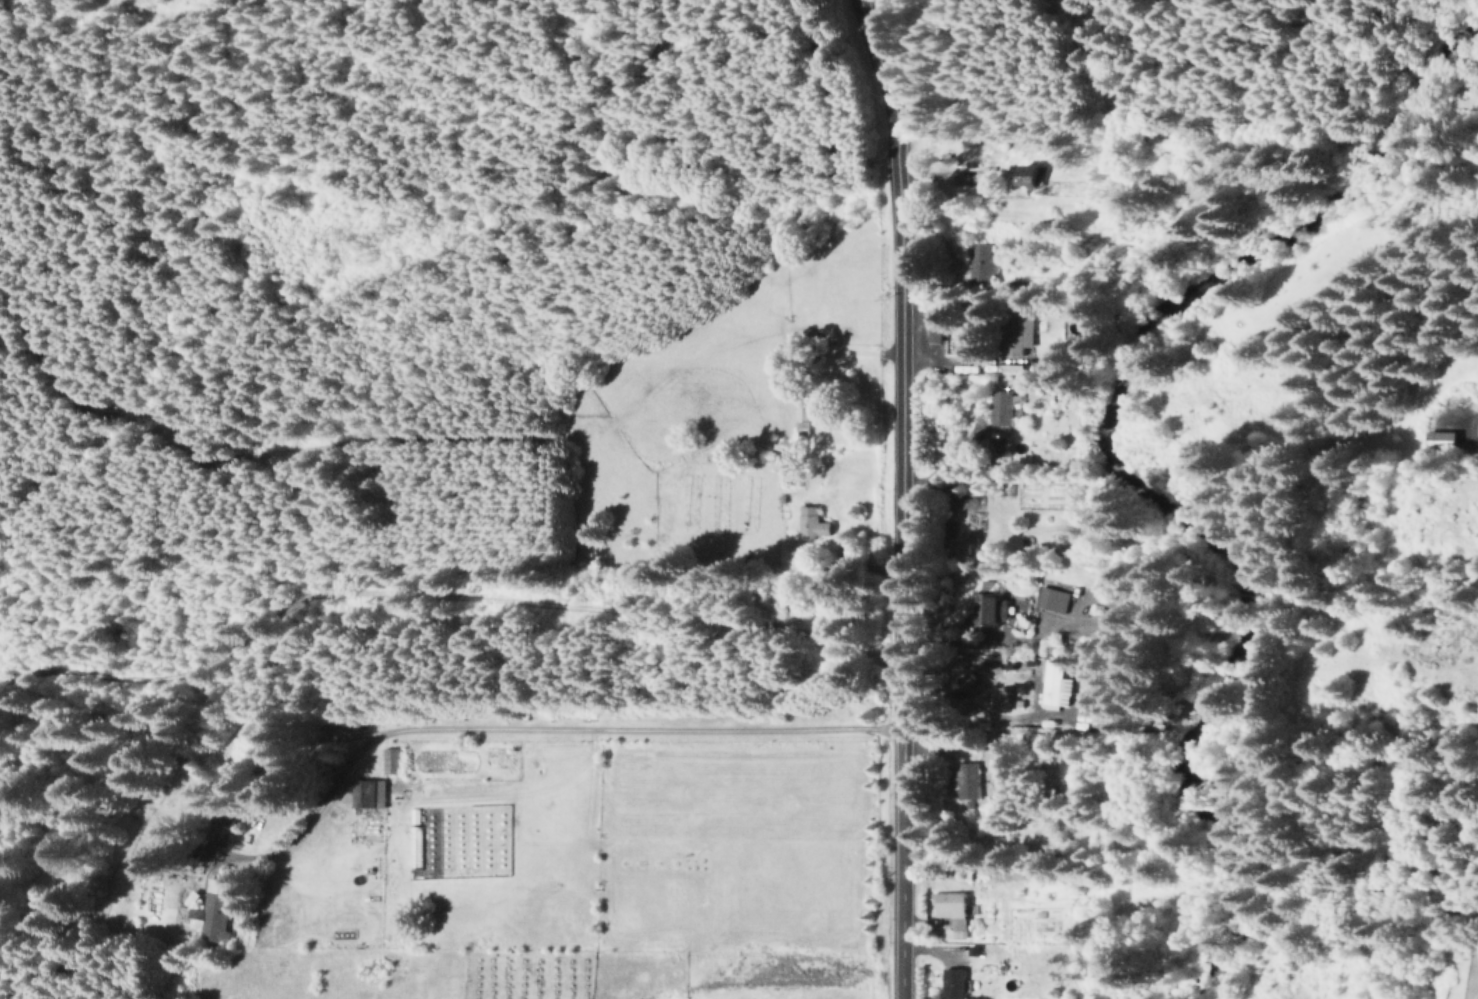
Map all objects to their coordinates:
road: (869, 15)
building: (1031, 176)
building: (979, 263)
building: (939, 328)
building: (1021, 335)
building: (1013, 368)
building: (1005, 407)
building: (802, 411)
building: (802, 428)
building: (1445, 438)
river: (1166, 464)
road: (897, 496)
building: (813, 522)
building: (1053, 599)
building: (996, 609)
building: (1056, 684)
road: (510, 724)
building: (390, 760)
building: (970, 780)
building: (369, 794)
building: (158, 861)
building: (212, 912)
building: (953, 912)
building: (955, 984)

